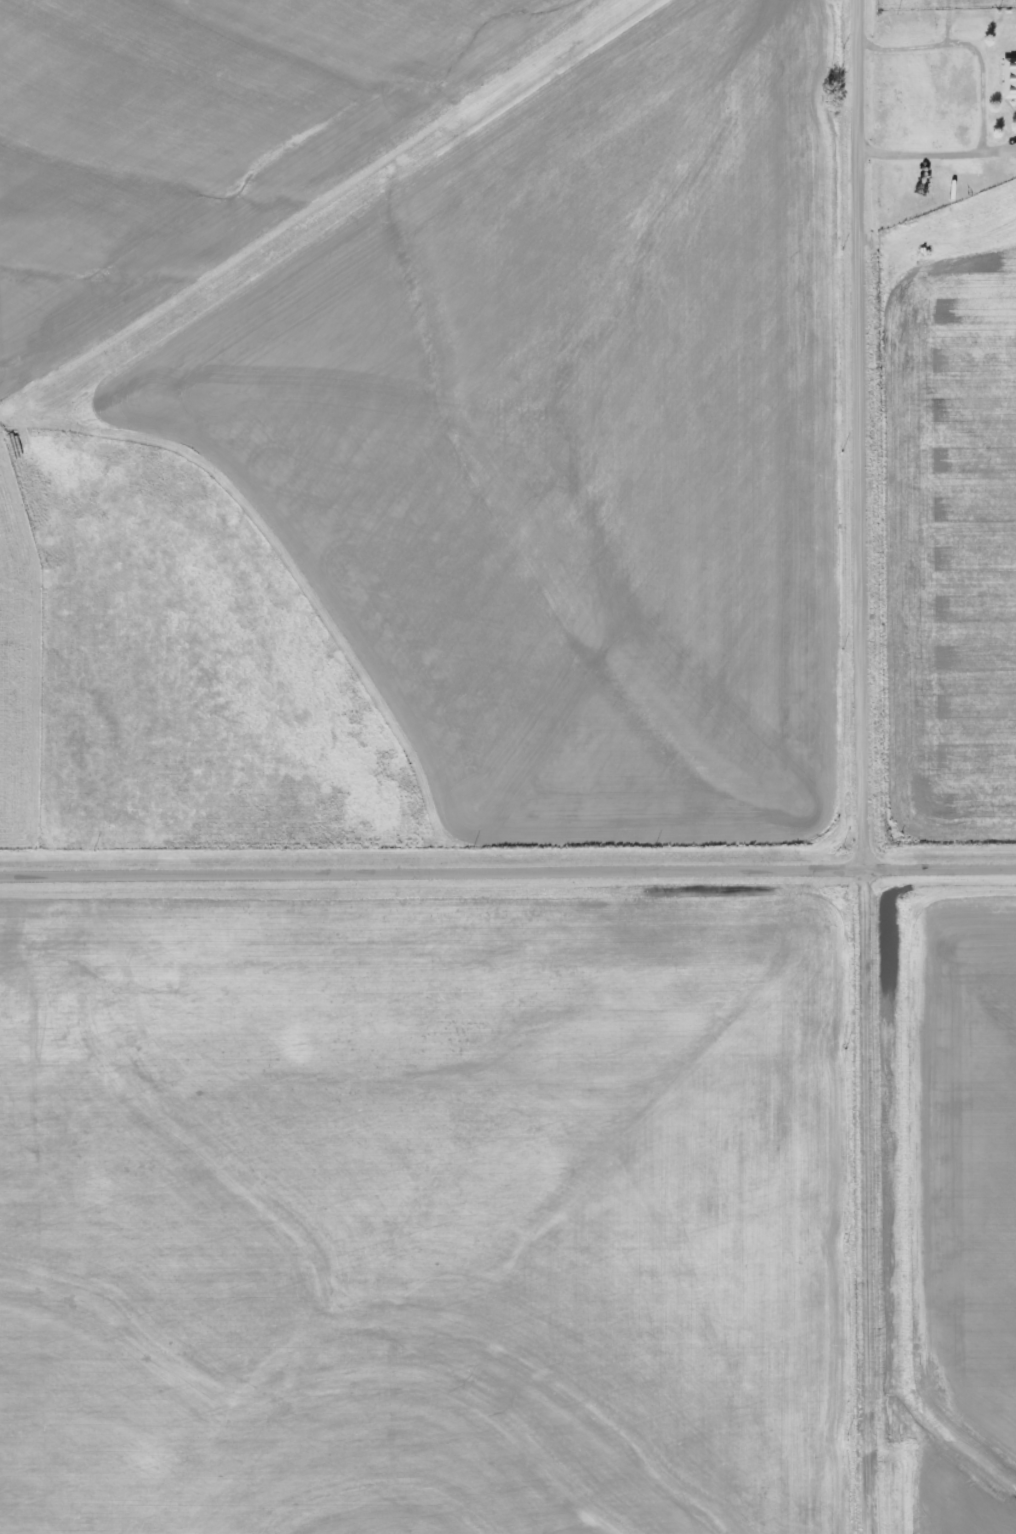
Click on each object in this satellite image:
building: (1009, 79)
road: (858, 767)
road: (507, 872)

